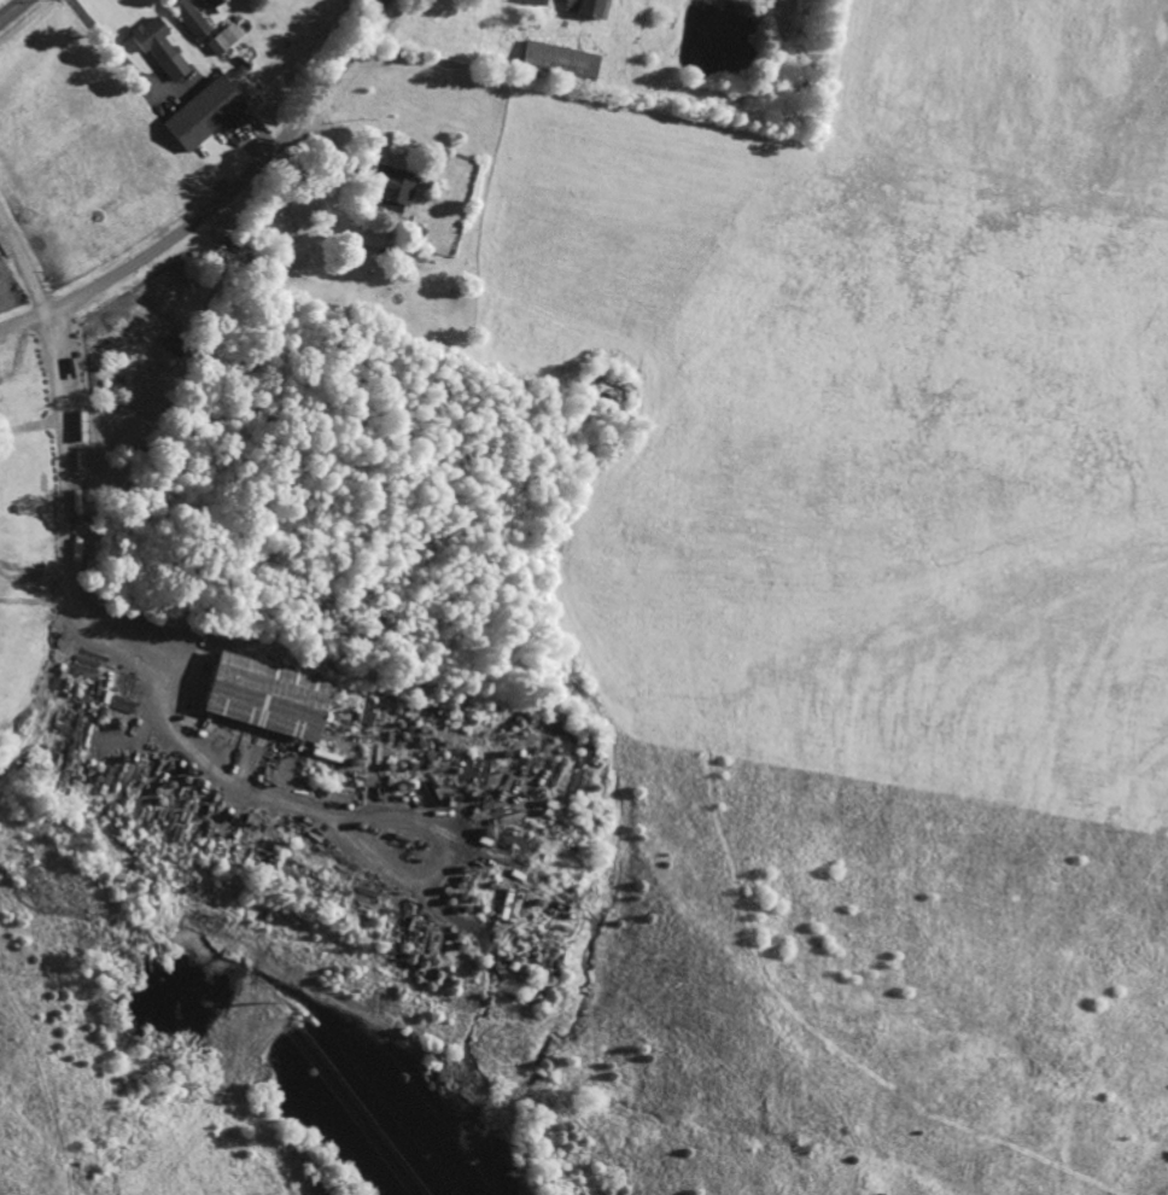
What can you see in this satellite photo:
building: (536, 2)
building: (220, 5)
building: (586, 7)
road: (12, 10)
building: (189, 18)
building: (223, 39)
building: (158, 46)
building: (559, 62)
building: (202, 115)
building: (392, 186)
road: (222, 199)
building: (267, 696)

